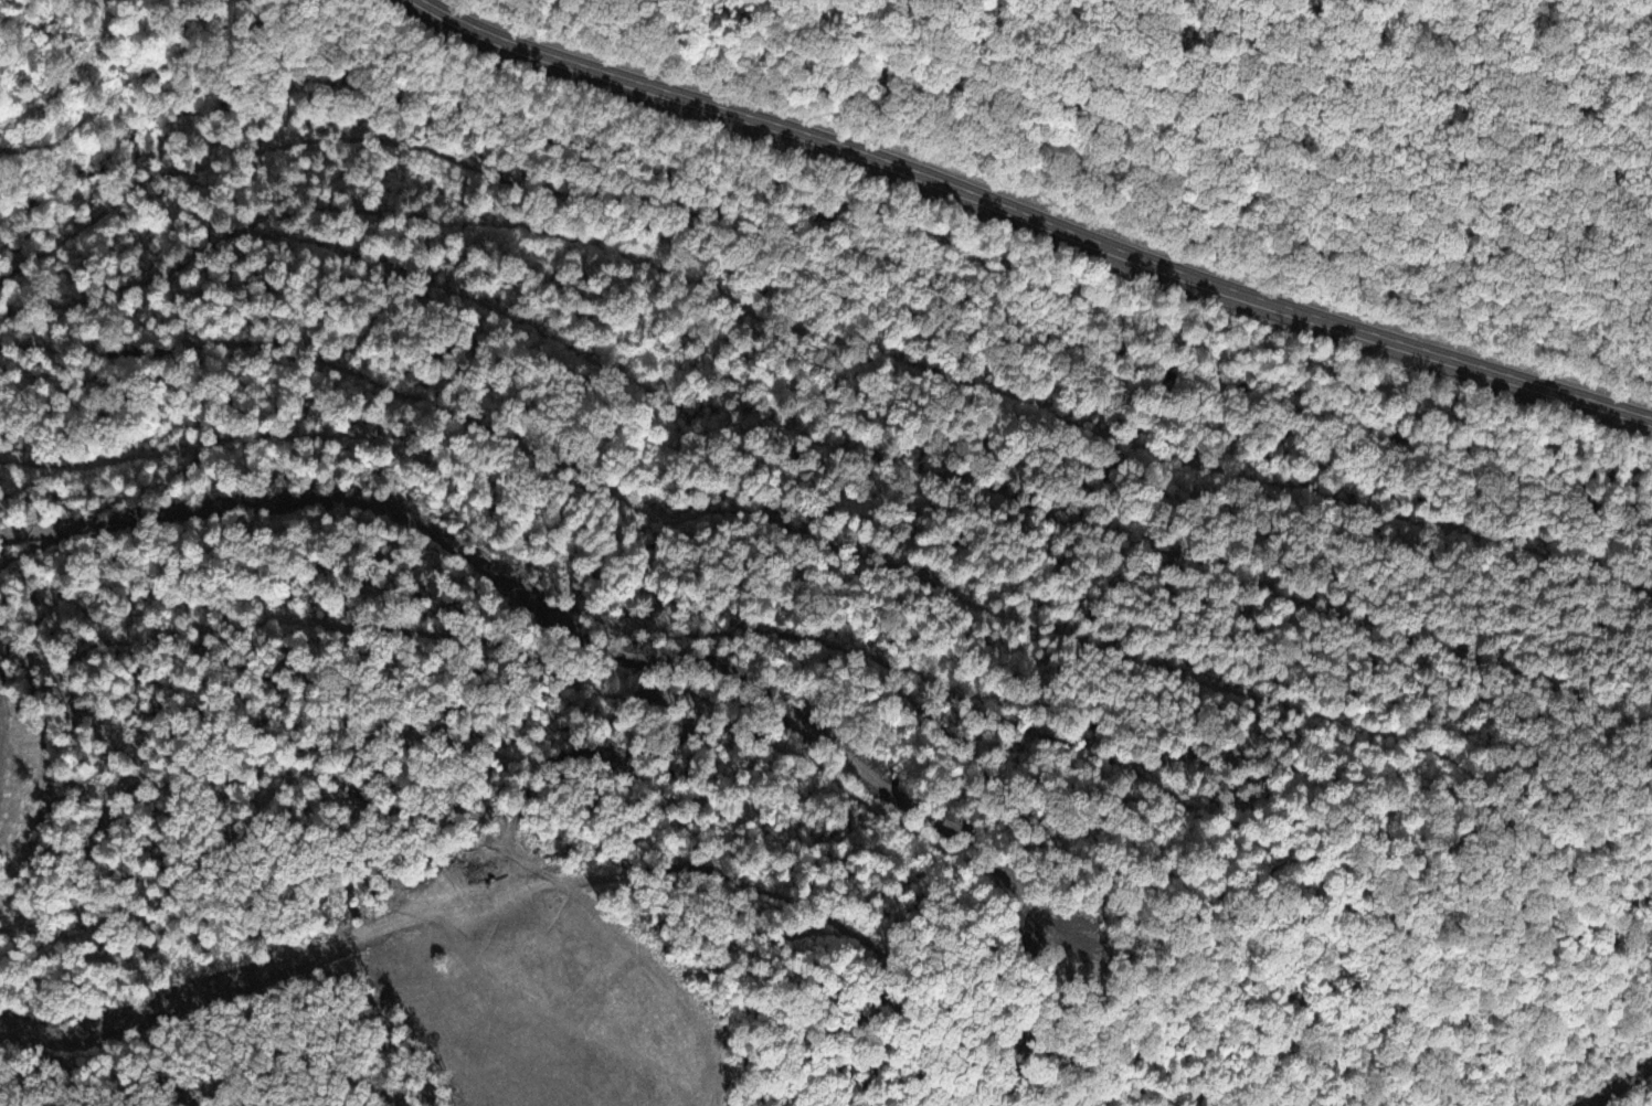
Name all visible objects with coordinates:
road: (1031, 215)
road: (1616, 1082)

